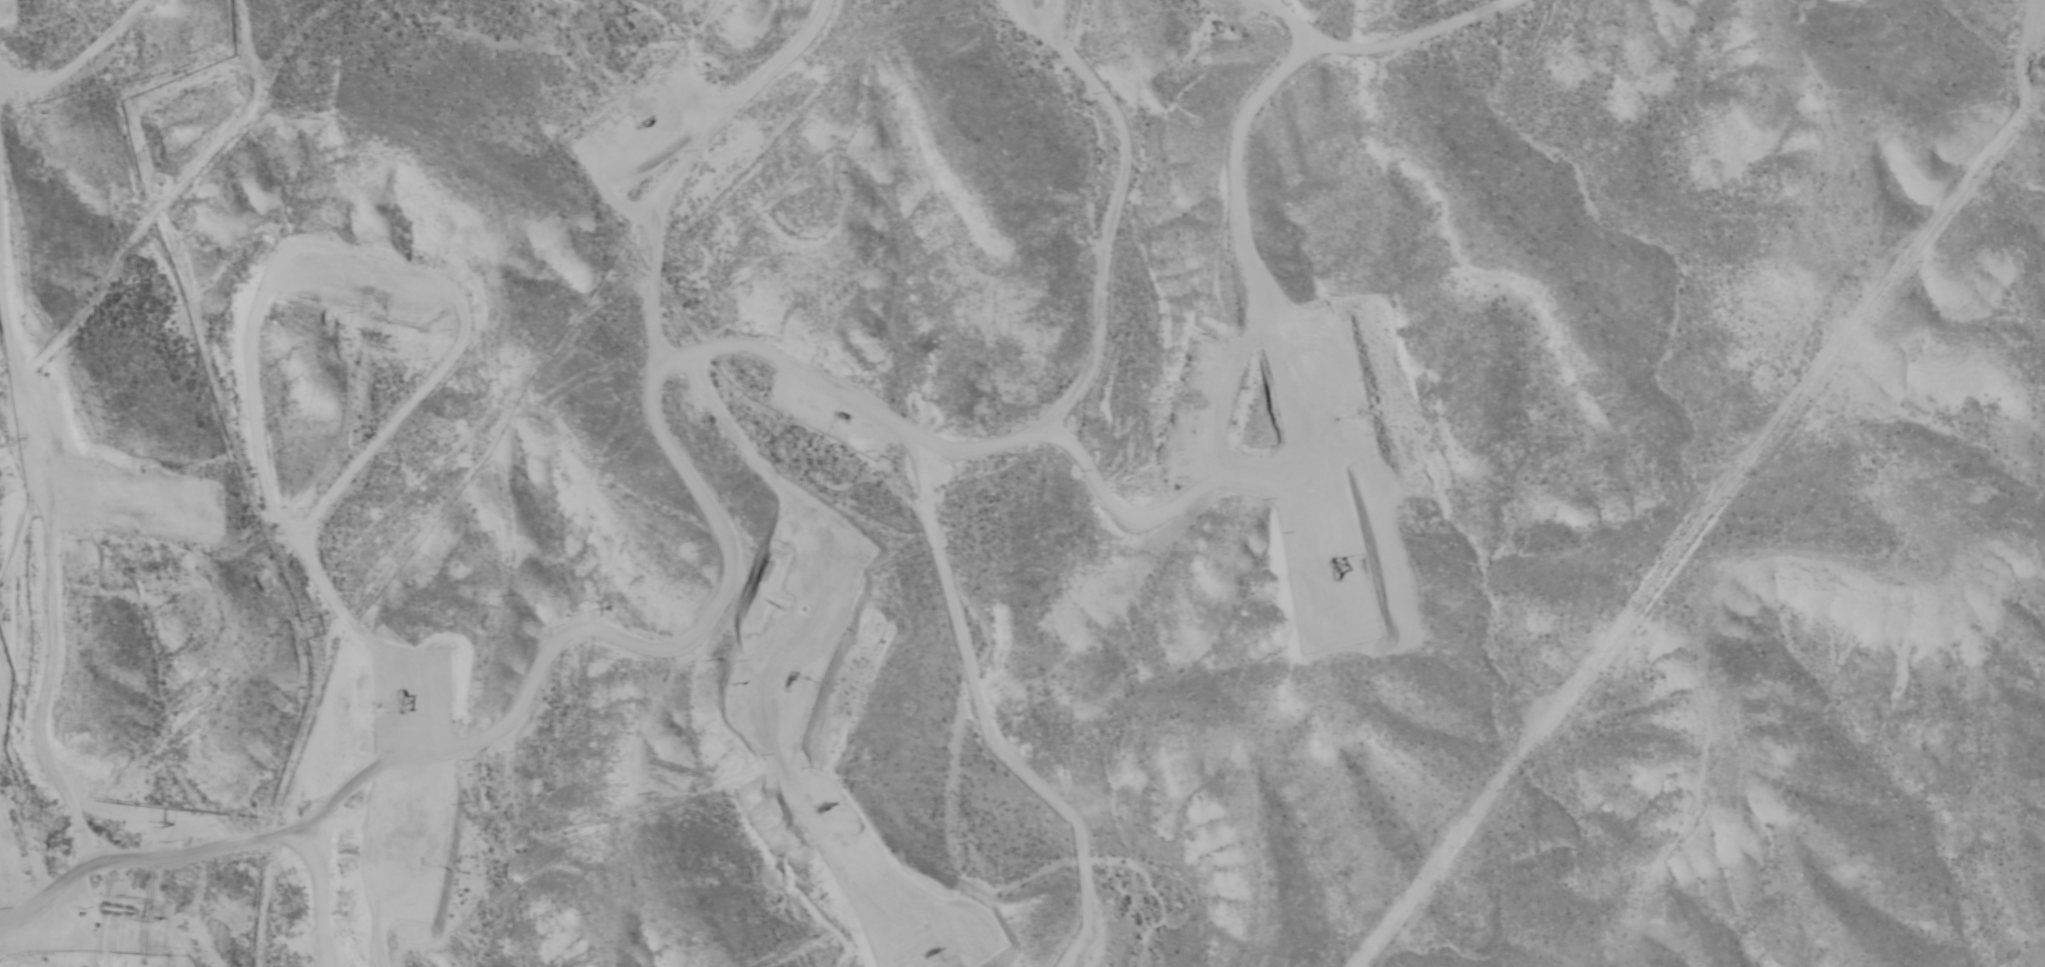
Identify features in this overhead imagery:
road: (472, 3)
road: (1061, 78)
road: (174, 81)
road: (1405, 188)
road: (1141, 320)
petroleum well: (404, 696)
road: (450, 731)
road: (339, 897)
road: (143, 898)

